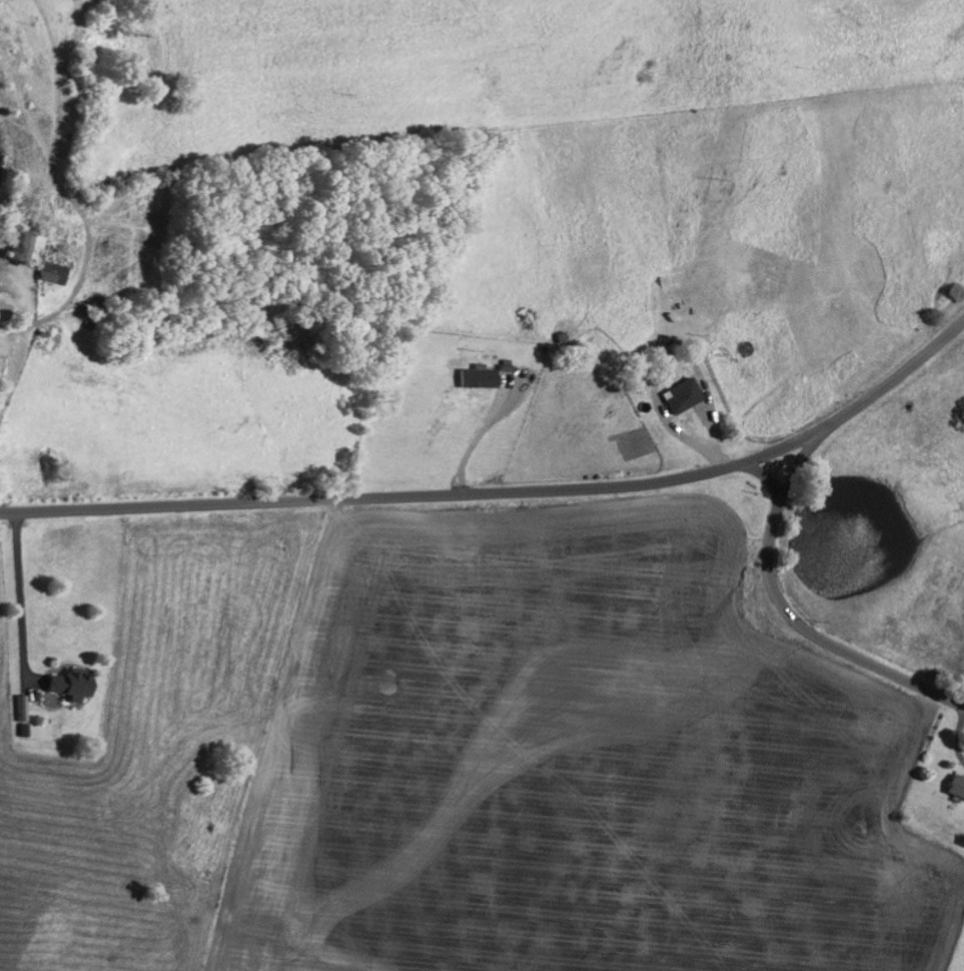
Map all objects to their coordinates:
building: (36, 254)
building: (5, 310)
building: (480, 376)
building: (682, 394)
road: (800, 460)
road: (504, 492)
road: (799, 623)
building: (71, 683)
building: (957, 785)

